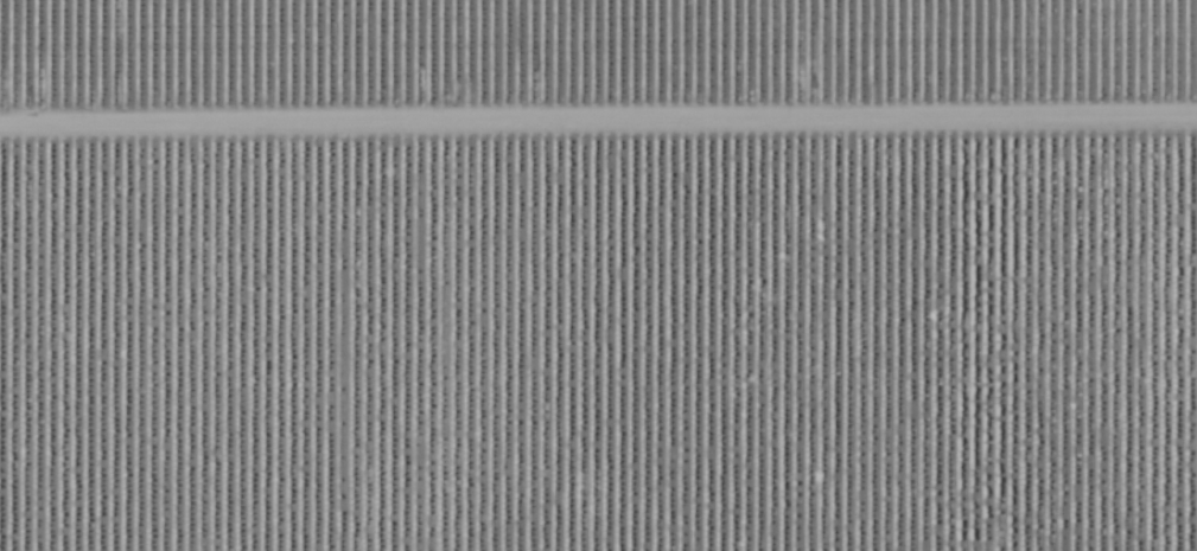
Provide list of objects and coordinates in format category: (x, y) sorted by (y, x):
road: (598, 114)

